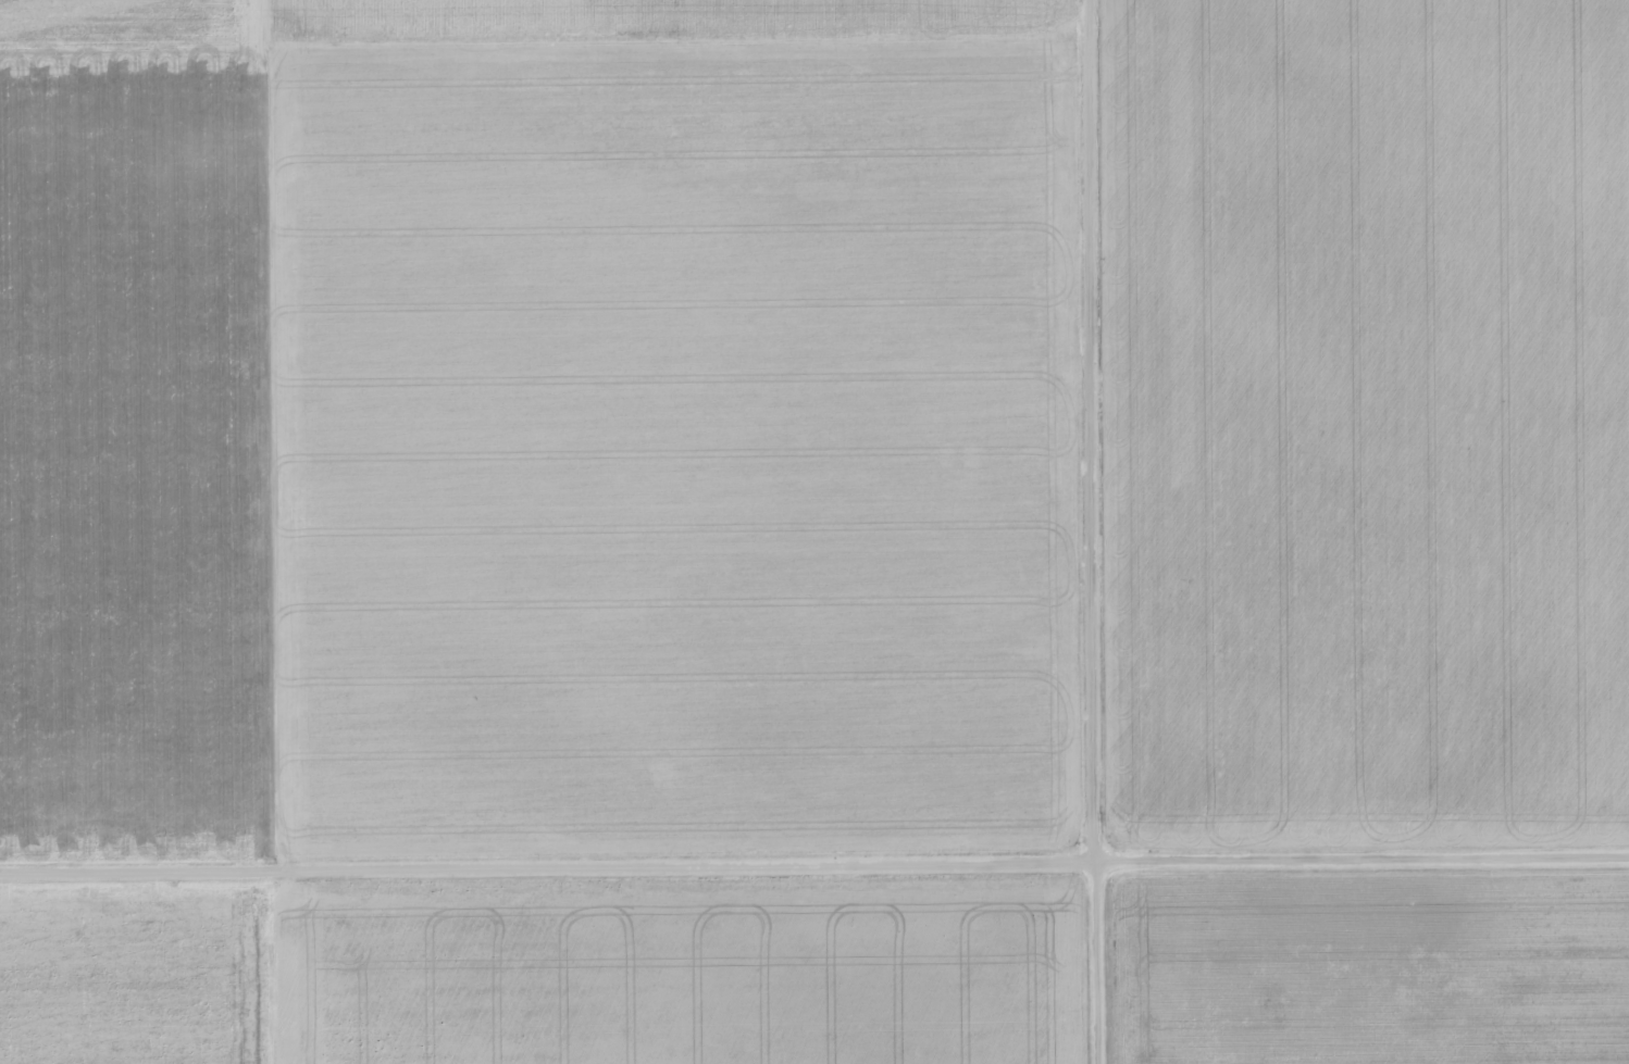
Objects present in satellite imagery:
road: (1078, 531)
road: (813, 839)

